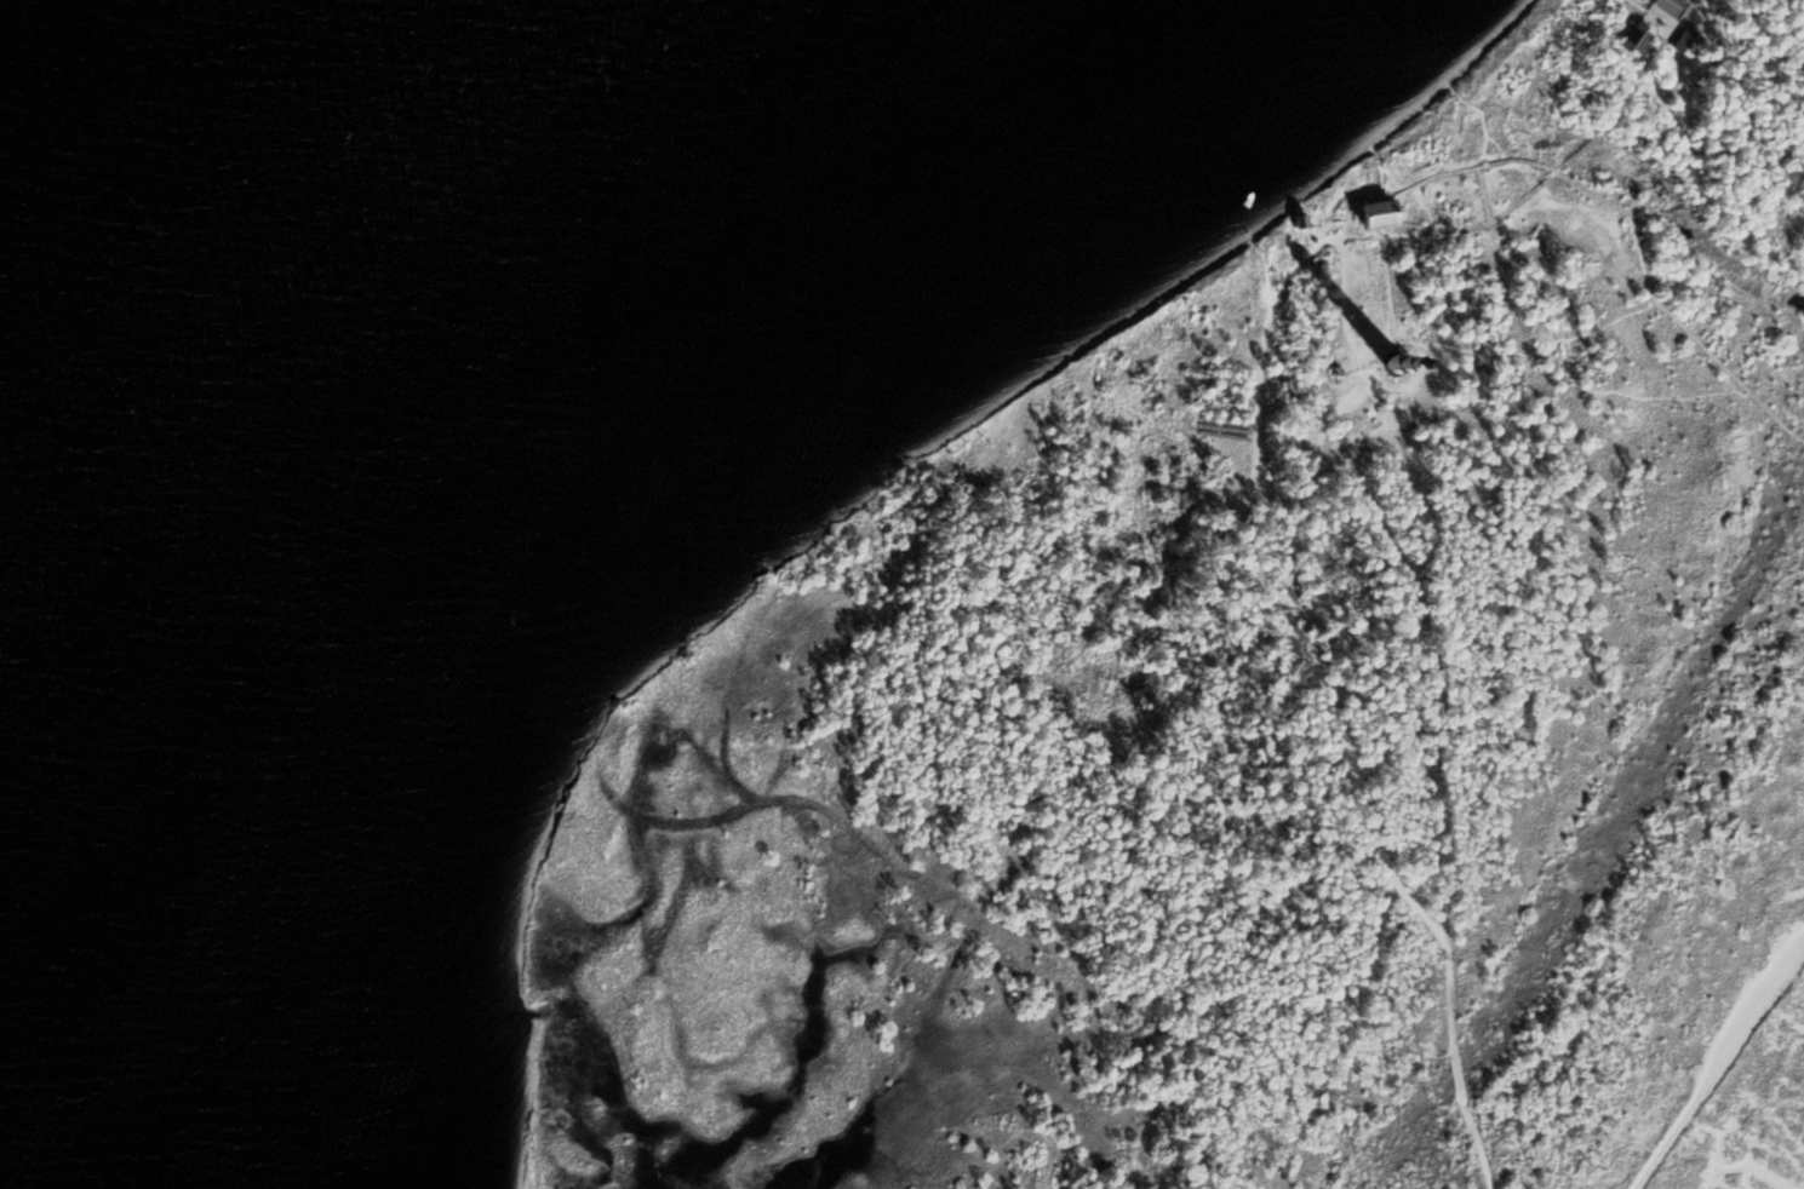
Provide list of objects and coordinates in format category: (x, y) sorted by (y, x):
road: (1622, 1)
building: (1670, 6)
road: (1699, 8)
road: (1686, 11)
road: (1663, 36)
building: (1640, 39)
building: (1689, 41)
road: (1753, 45)
building: (1751, 52)
road: (1802, 80)
road: (1483, 115)
road: (1471, 167)
road: (1556, 170)
road: (1368, 190)
road: (1484, 194)
building: (1382, 212)
building: (1302, 218)
road: (1387, 236)
road: (1261, 272)
road: (1388, 285)
road: (1663, 312)
building: (1399, 329)
road: (1582, 329)
road: (1484, 352)
building: (1397, 361)
building: (1339, 371)
road: (1361, 383)
road: (1662, 395)
road: (1510, 409)
building: (1226, 538)
road: (1235, 551)
building: (1306, 585)
road: (1298, 638)
road: (1797, 971)
road: (1718, 1064)
road: (1457, 1074)
road: (1481, 1145)

